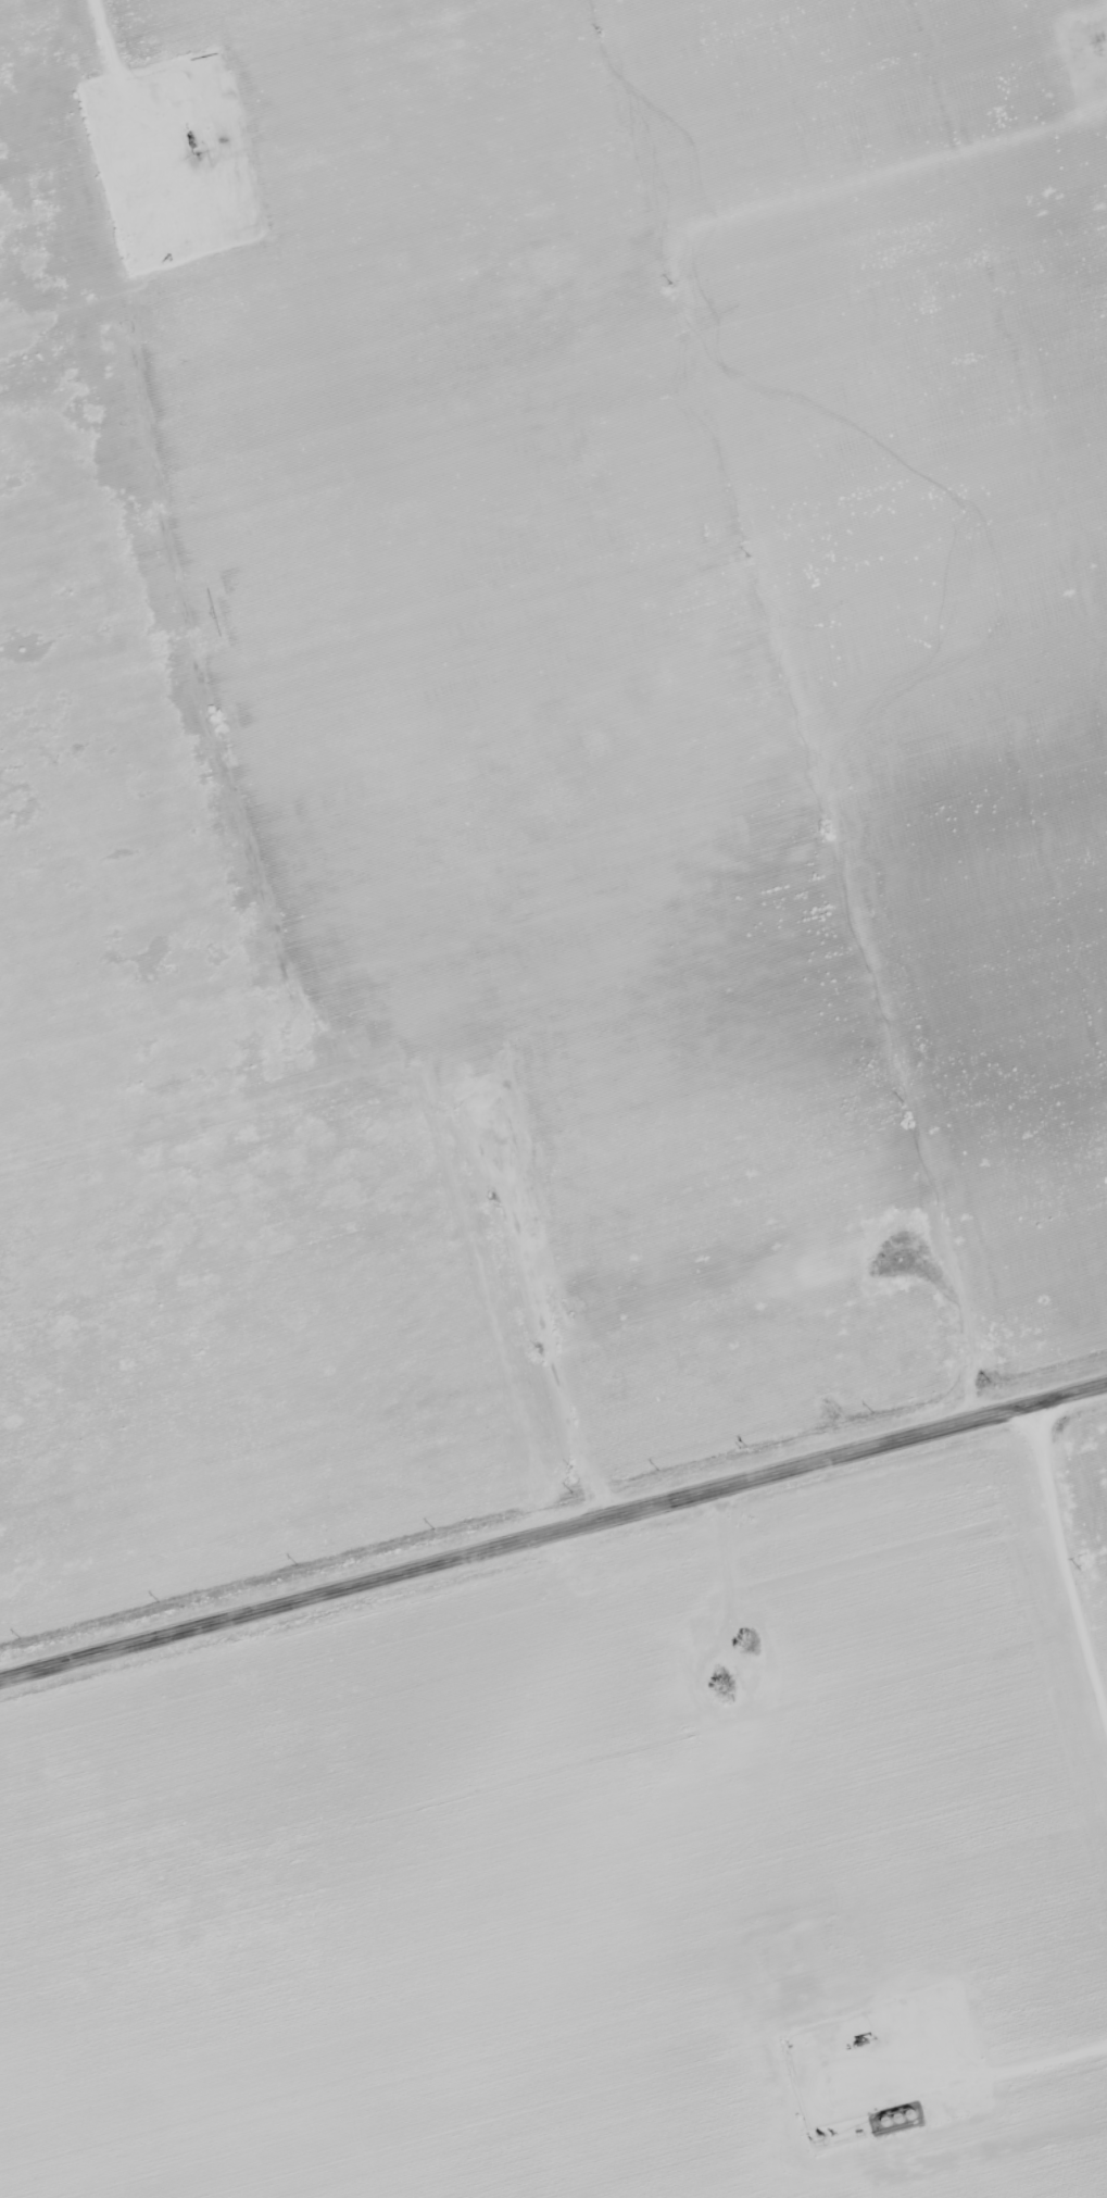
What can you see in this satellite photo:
road: (855, 865)
road: (553, 1538)
building: (715, 1695)
building: (643, 1790)

